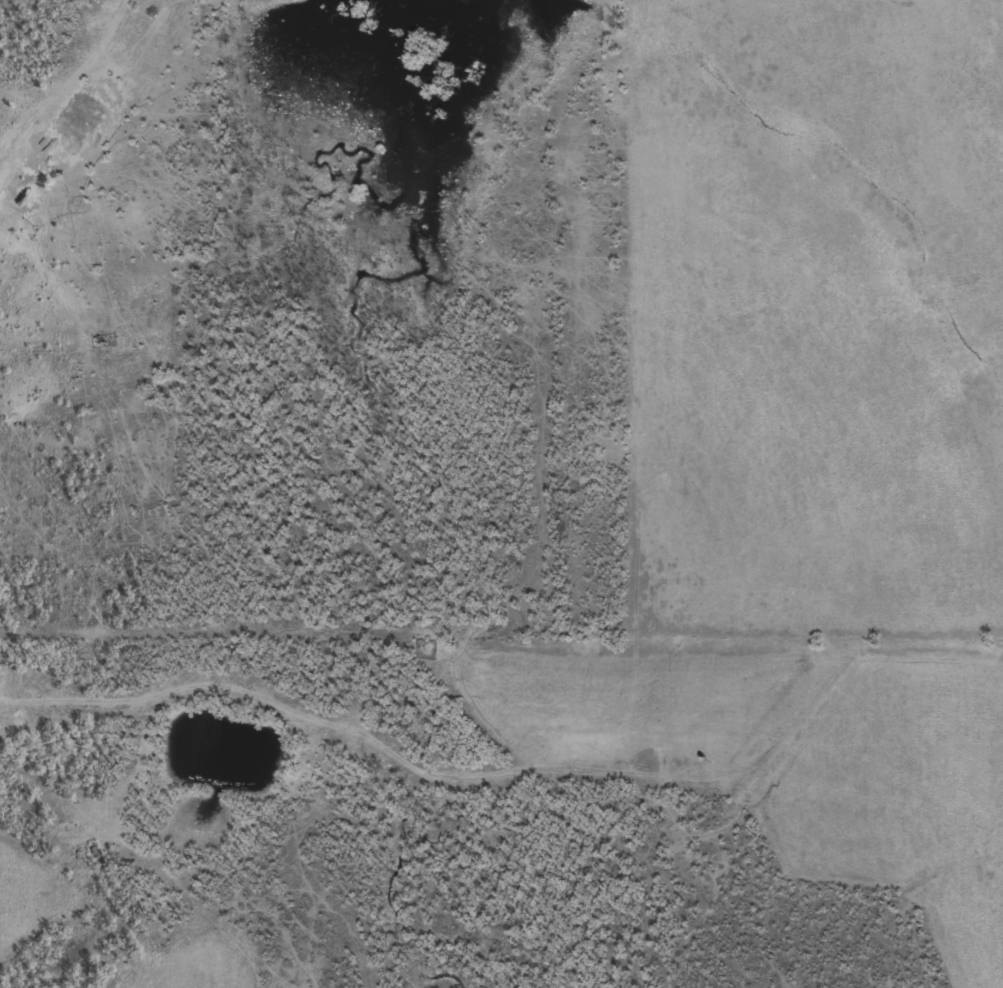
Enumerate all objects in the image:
road: (35, 19)

